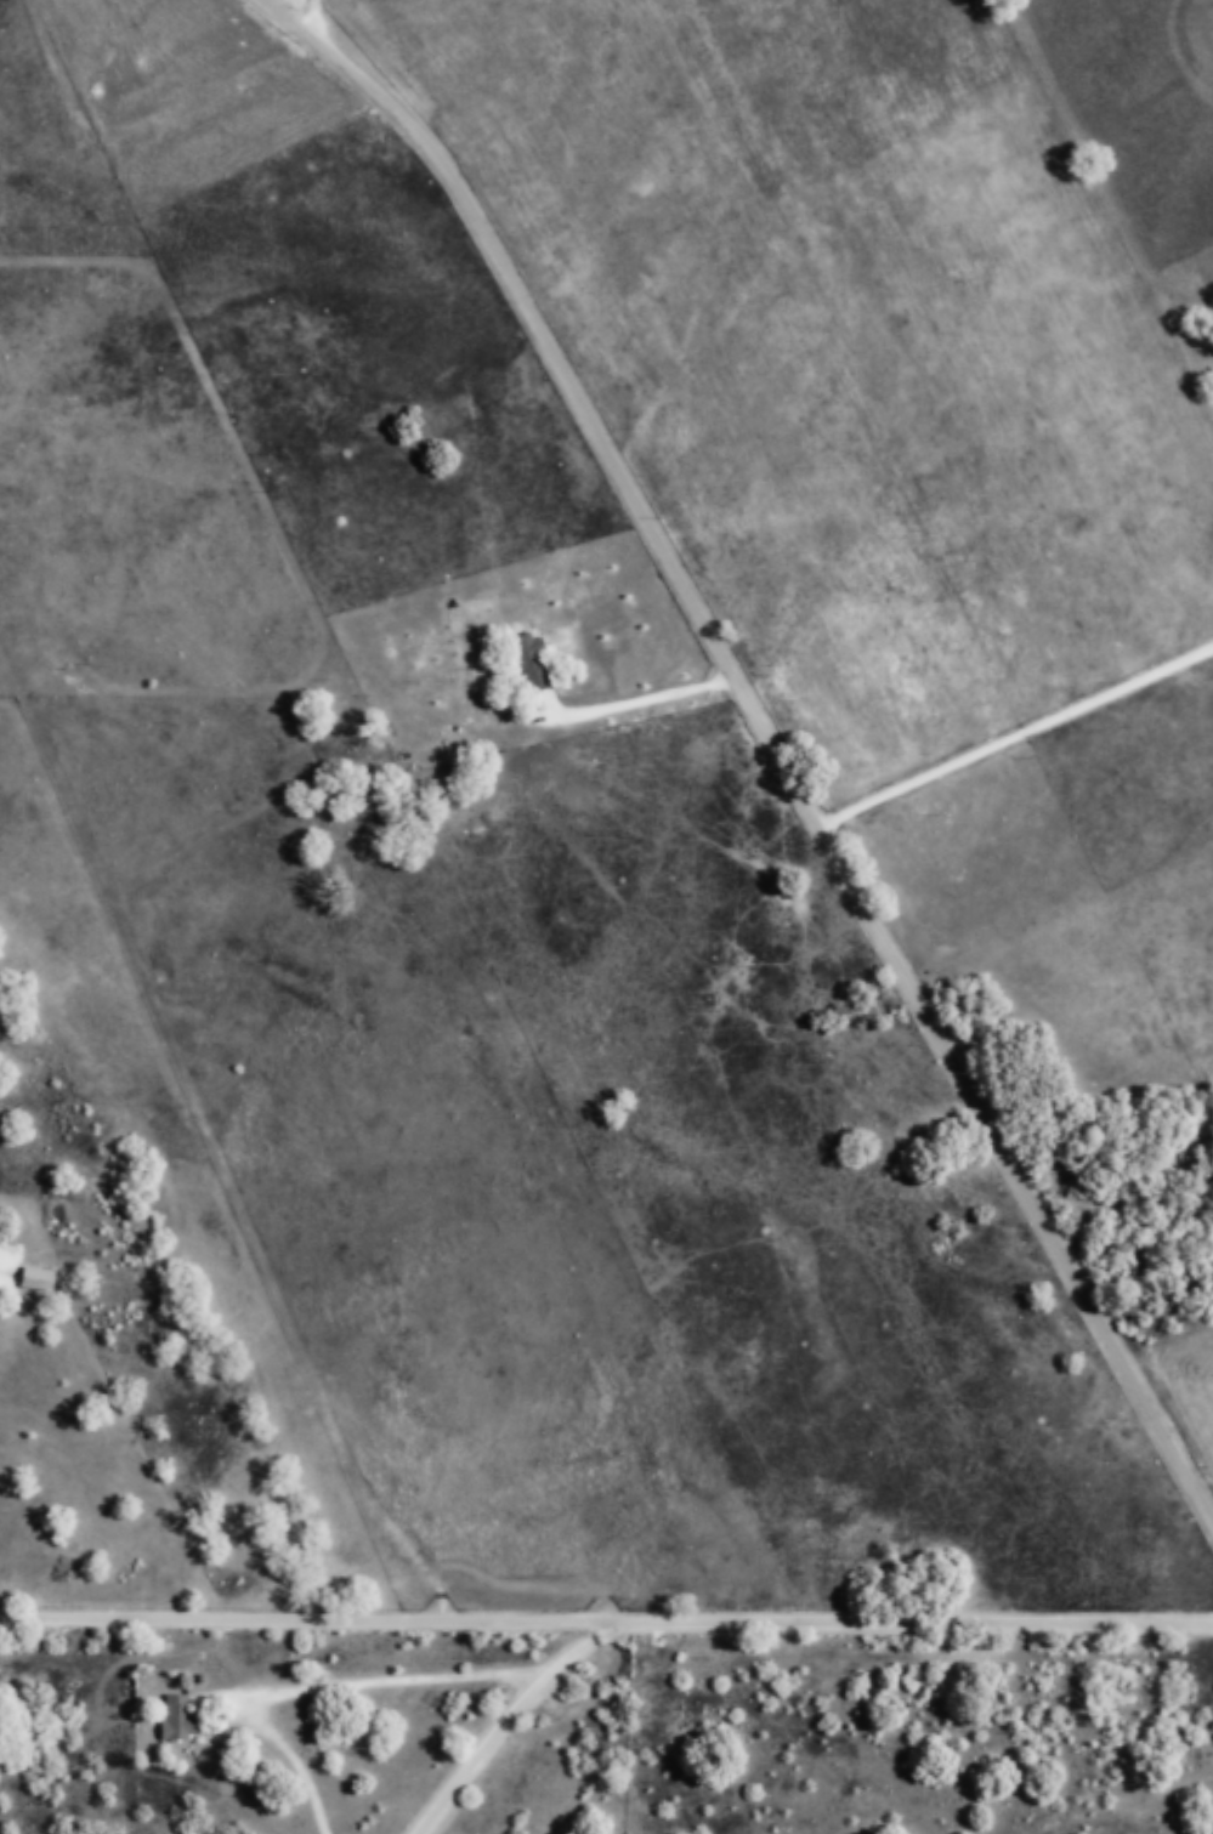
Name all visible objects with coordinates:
building: (534, 664)
road: (769, 733)
road: (606, 1617)
road: (511, 1715)
building: (178, 1720)

